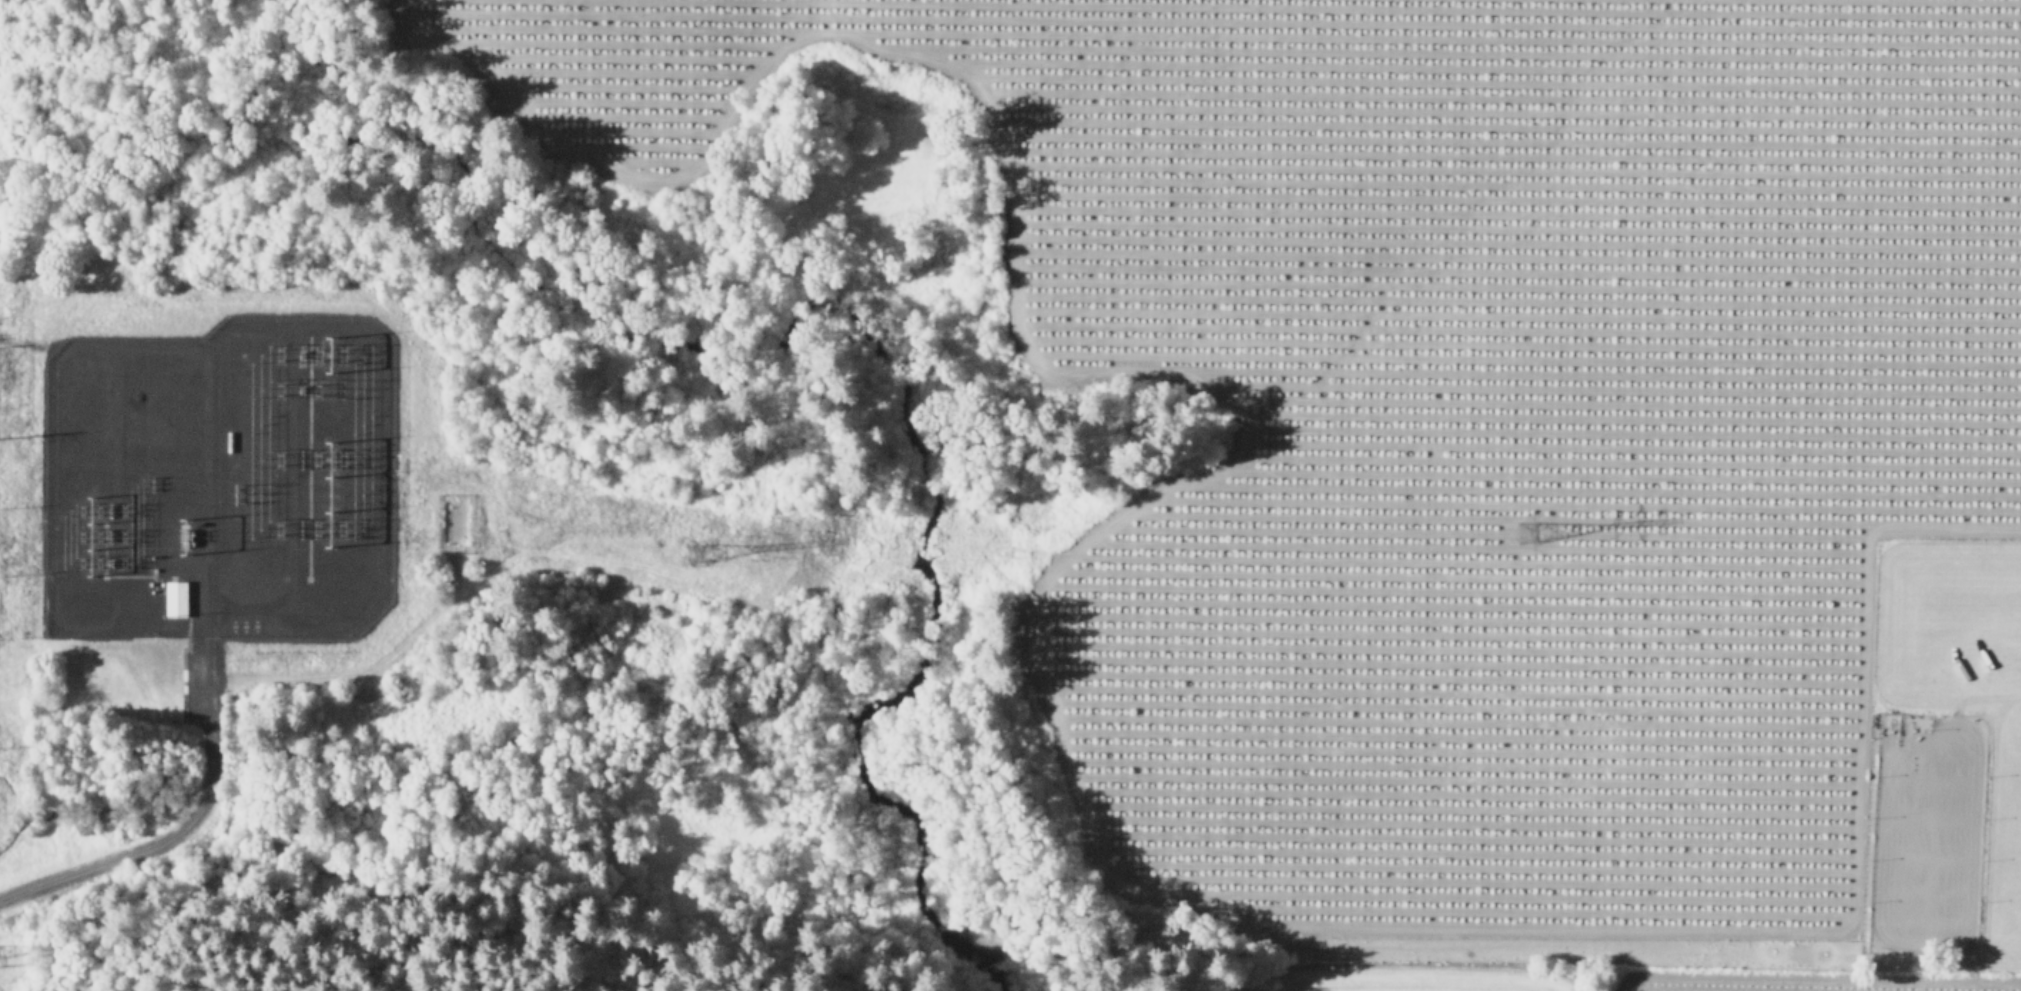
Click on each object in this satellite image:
power substation: (218, 478)
power tower: (327, 493)
crop: (1602, 505)
power tower: (1525, 529)
power tower: (688, 553)
building: (175, 597)
crop: (4, 759)
road: (178, 823)

